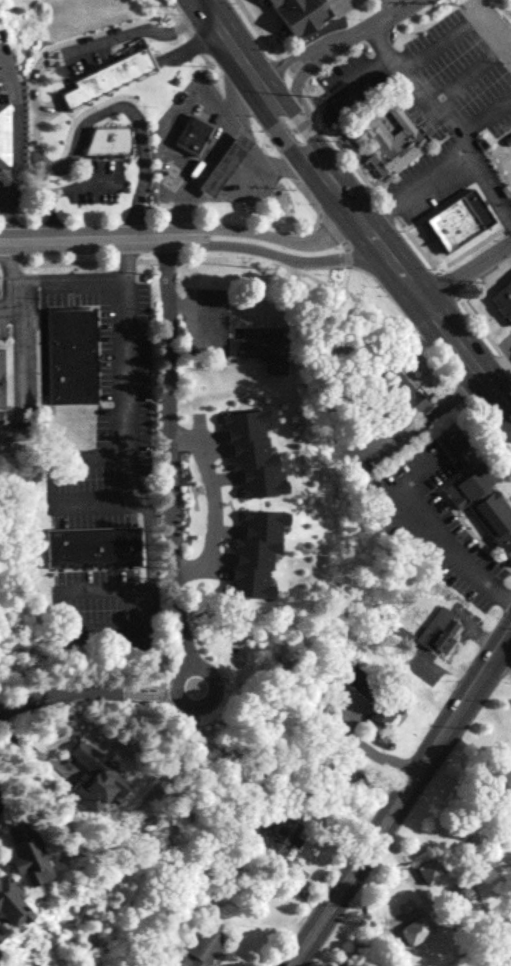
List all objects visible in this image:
road: (389, 4)
parking lot: (357, 5)
building: (302, 15)
road: (460, 23)
road: (358, 30)
road: (280, 64)
building: (107, 76)
road: (296, 85)
road: (226, 90)
road: (418, 95)
building: (348, 103)
road: (278, 108)
road: (485, 112)
road: (16, 121)
road: (292, 129)
building: (4, 133)
building: (196, 136)
gas station: (196, 136)
building: (391, 137)
building: (107, 140)
road: (338, 143)
road: (36, 152)
road: (207, 154)
building: (228, 165)
road: (445, 166)
road: (4, 191)
road: (318, 214)
road: (6, 215)
road: (360, 221)
building: (455, 222)
road: (264, 235)
road: (82, 237)
road: (339, 237)
road: (379, 244)
road: (474, 246)
road: (279, 257)
road: (125, 258)
road: (295, 270)
road: (465, 270)
road: (345, 278)
road: (407, 280)
building: (503, 300)
road: (11, 303)
road: (478, 324)
road: (24, 333)
building: (262, 344)
building: (71, 354)
road: (466, 355)
road: (498, 370)
building: (1, 379)
building: (403, 389)
road: (440, 398)
road: (126, 431)
parking lot: (371, 436)
building: (452, 439)
building: (250, 451)
road: (216, 502)
building: (486, 503)
building: (91, 546)
road: (455, 548)
building: (254, 550)
road: (169, 561)
building: (445, 630)
road: (505, 655)
building: (378, 695)
road: (35, 751)
building: (98, 778)
road: (402, 800)
building: (1, 815)
building: (285, 841)
road: (393, 846)
building: (33, 855)
park: (443, 865)
road: (471, 866)
building: (434, 871)
road: (421, 880)
road: (417, 885)
building: (15, 903)
road: (405, 920)
building: (420, 932)
building: (3, 944)
building: (206, 947)
road: (510, 959)

